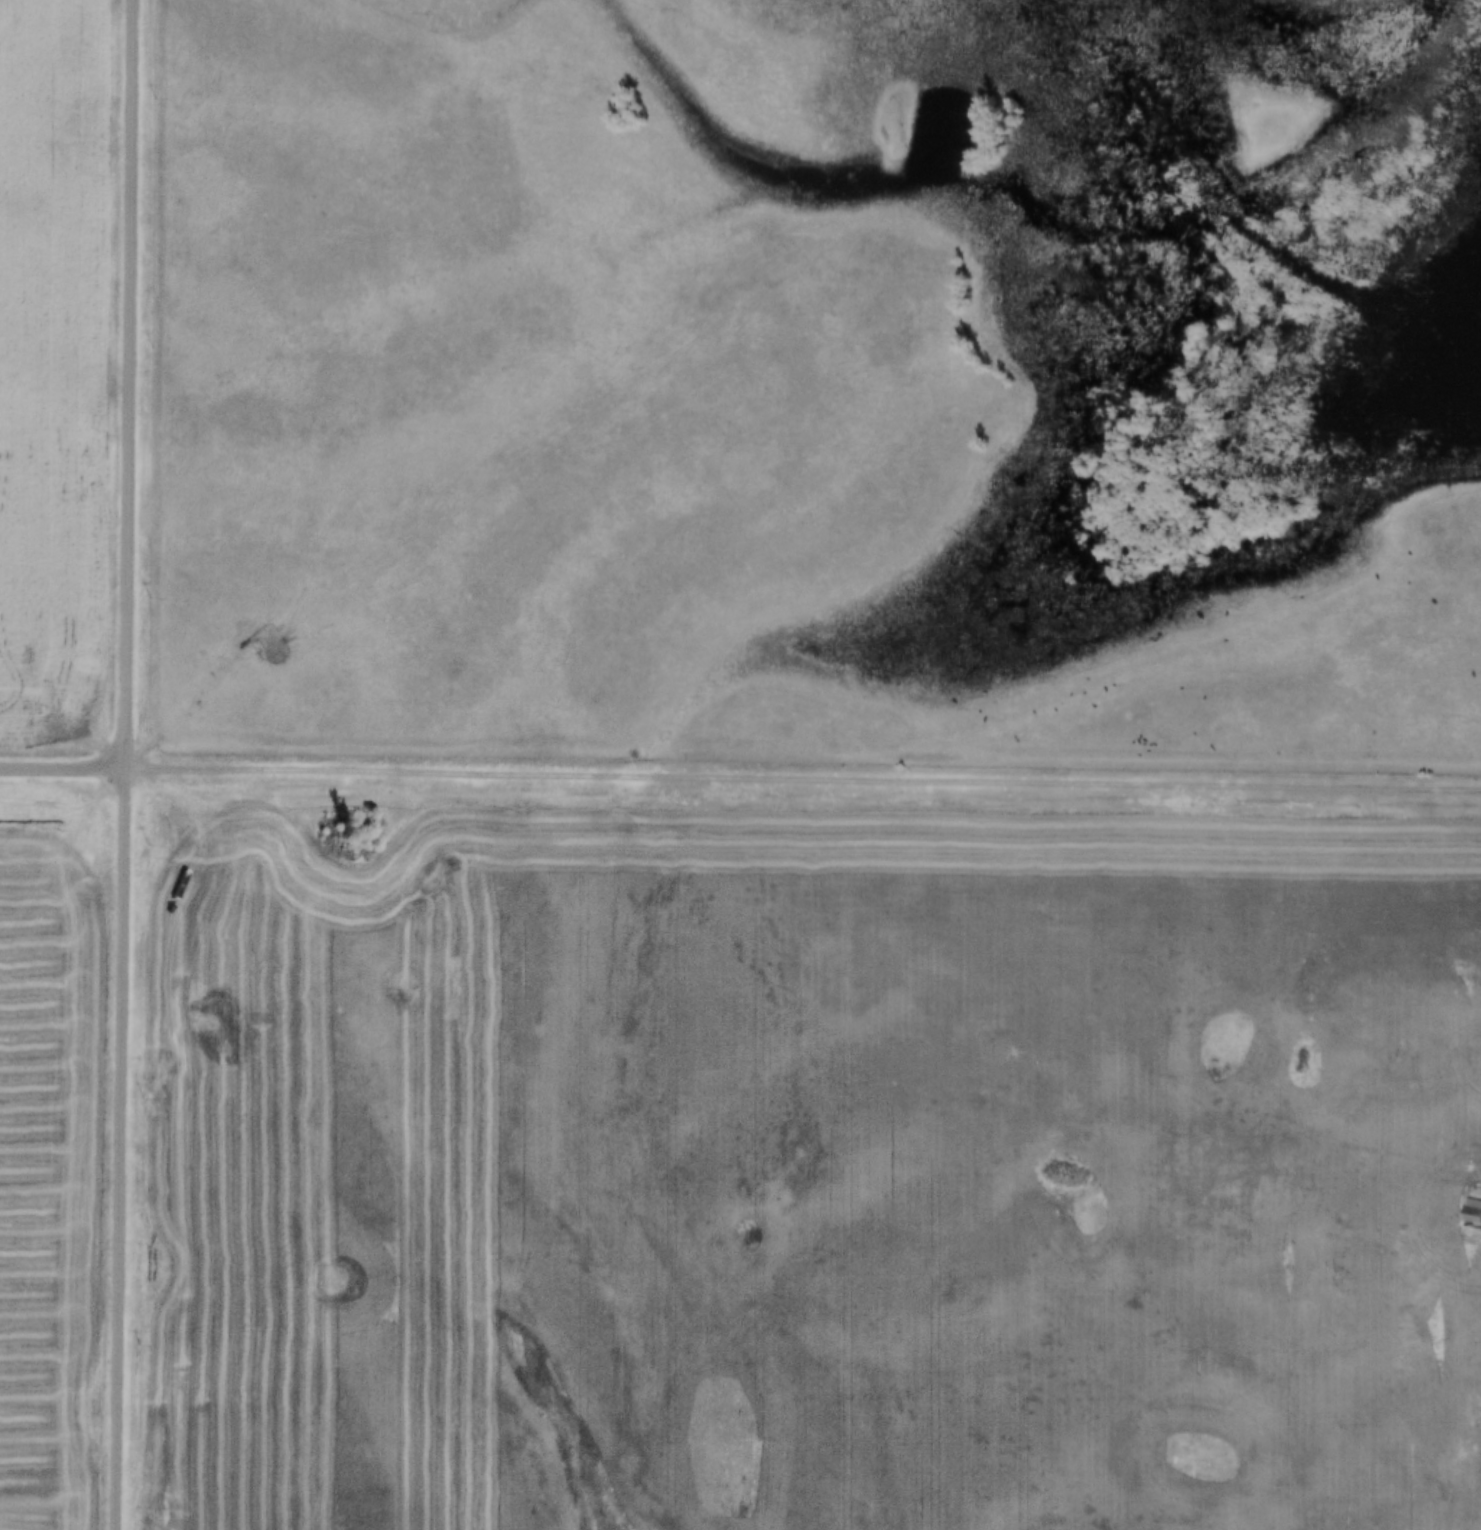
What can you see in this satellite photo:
road: (130, 385)
road: (799, 697)
road: (63, 771)
road: (804, 778)
road: (121, 1150)
building: (1473, 1212)
road: (1457, 1470)

